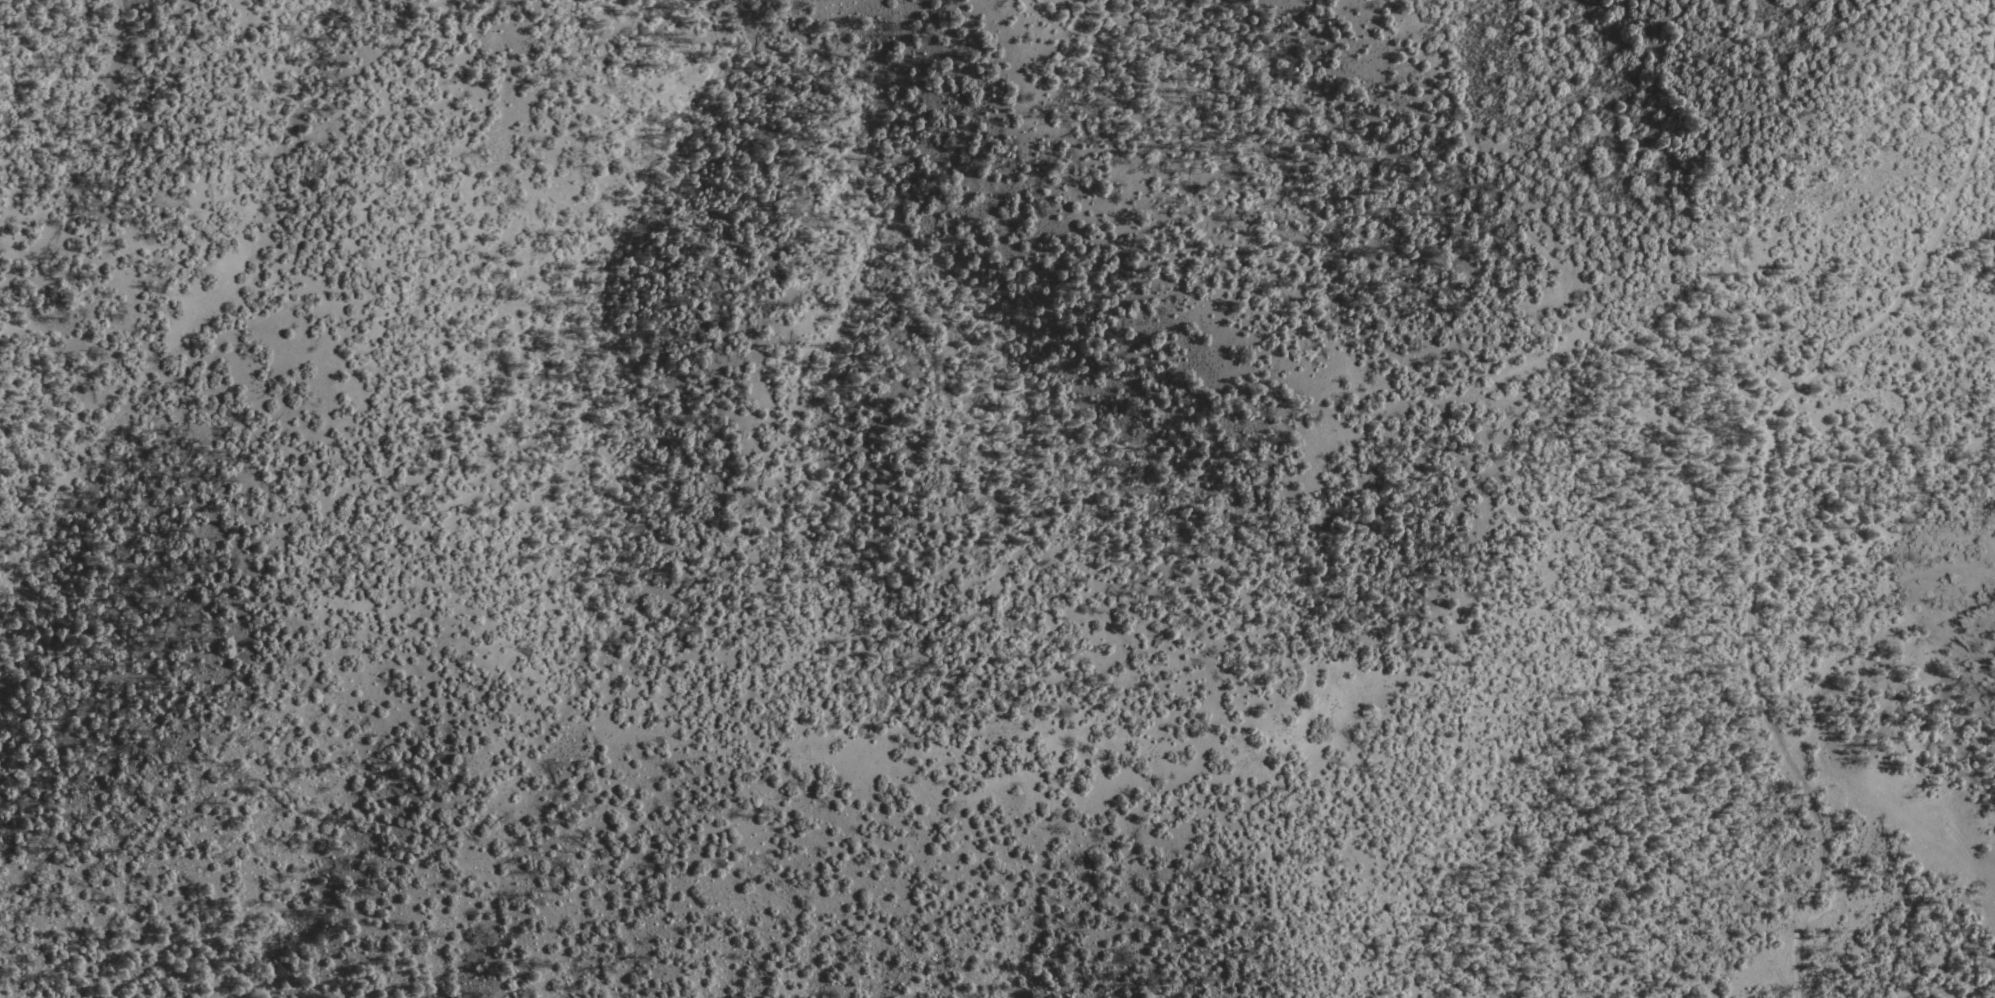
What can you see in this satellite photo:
road: (1764, 487)

